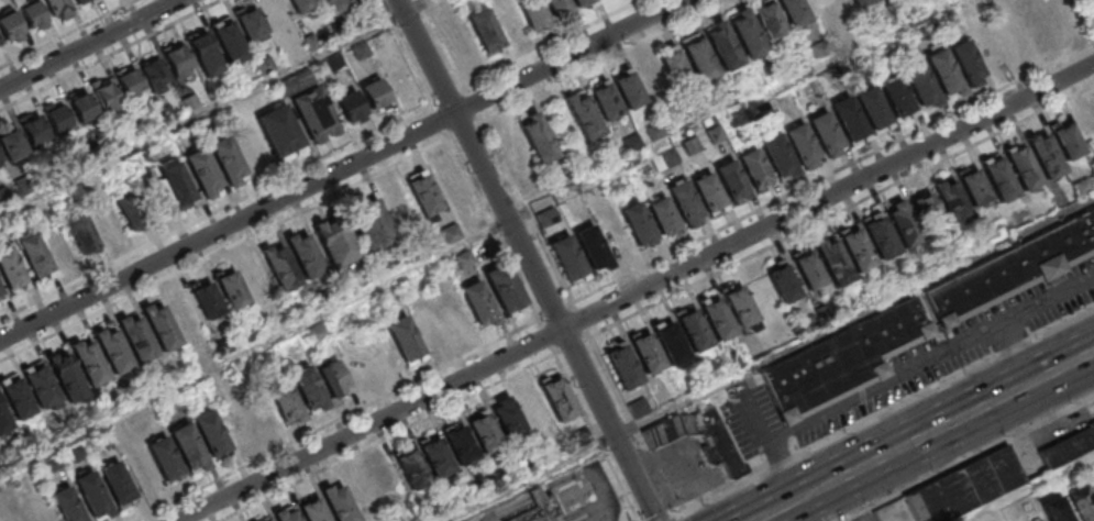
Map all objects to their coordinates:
building: (351, 0)
building: (79, 1)
building: (90, 1)
road: (1093, 1)
building: (582, 2)
building: (861, 2)
building: (300, 5)
building: (333, 5)
building: (557, 8)
building: (58, 9)
building: (275, 10)
building: (794, 11)
building: (32, 13)
building: (532, 13)
building: (1062, 16)
building: (507, 19)
building: (769, 19)
road: (1084, 19)
building: (251, 23)
building: (1037, 23)
building: (9, 25)
building: (484, 30)
building: (747, 35)
building: (229, 41)
road: (86, 43)
building: (1015, 43)
road: (444, 44)
building: (0, 46)
building: (723, 47)
building: (990, 49)
building: (205, 54)
building: (698, 56)
road: (847, 56)
building: (178, 60)
road: (607, 60)
building: (966, 62)
building: (673, 66)
building: (943, 70)
building: (154, 75)
building: (650, 76)
building: (130, 82)
building: (920, 84)
building: (627, 88)
building: (375, 93)
building: (106, 95)
building: (897, 98)
building: (604, 99)
road: (476, 104)
building: (350, 106)
building: (81, 107)
road: (216, 108)
building: (873, 110)
building: (583, 113)
building: (314, 114)
building: (57, 117)
building: (848, 119)
building: (33, 128)
building: (280, 132)
building: (825, 133)
building: (538, 137)
building: (12, 144)
building: (802, 144)
building: (510, 146)
building: (1056, 151)
building: (777, 155)
building: (664, 159)
building: (228, 160)
building: (0, 162)
building: (753, 167)
road: (342, 169)
building: (203, 173)
building: (1010, 174)
road: (835, 175)
building: (730, 179)
building: (450, 184)
building: (173, 186)
building: (974, 188)
building: (423, 192)
building: (708, 192)
building: (685, 202)
building: (398, 203)
building: (941, 204)
building: (131, 211)
road: (530, 212)
road: (843, 213)
building: (662, 215)
building: (471, 220)
building: (107, 222)
building: (637, 222)
building: (371, 223)
building: (904, 224)
road: (496, 230)
building: (612, 233)
building: (82, 235)
building: (880, 235)
building: (335, 241)
building: (58, 245)
building: (590, 246)
building: (857, 248)
building: (34, 254)
building: (305, 254)
building: (565, 254)
road: (530, 260)
building: (832, 260)
building: (279, 266)
building: (12, 271)
building: (809, 271)
building: (1014, 273)
building: (255, 279)
building: (784, 282)
building: (504, 288)
building: (232, 290)
building: (0, 293)
road: (638, 295)
building: (207, 299)
building: (478, 303)
building: (183, 310)
road: (557, 312)
building: (728, 313)
building: (454, 317)
road: (583, 320)
building: (161, 325)
building: (429, 326)
building: (317, 333)
building: (136, 337)
road: (550, 337)
building: (405, 340)
road: (574, 345)
road: (255, 348)
building: (113, 350)
building: (647, 352)
road: (1014, 355)
road: (771, 359)
building: (89, 361)
building: (846, 363)
building: (622, 365)
road: (908, 373)
building: (66, 376)
building: (332, 376)
building: (41, 385)
building: (308, 389)
building: (16, 397)
building: (559, 397)
building: (285, 402)
building: (639, 407)
building: (533, 408)
road: (885, 409)
building: (261, 414)
road: (964, 415)
building: (508, 418)
building: (4, 420)
road: (340, 420)
building: (235, 423)
road: (634, 424)
building: (484, 431)
building: (212, 434)
building: (699, 436)
road: (388, 437)
road: (597, 437)
building: (460, 444)
building: (1068, 446)
building: (188, 448)
building: (435, 456)
road: (969, 457)
building: (164, 458)
building: (411, 468)
road: (593, 469)
building: (993, 475)
building: (387, 481)
building: (117, 484)
road: (1027, 487)
building: (92, 495)
road: (539, 495)
road: (803, 497)
building: (339, 502)
building: (1081, 502)
building: (67, 505)
building: (541, 508)
building: (312, 509)
road: (510, 509)
building: (1056, 509)
building: (40, 510)
building: (286, 513)
road: (671, 517)
road: (679, 517)
road: (764, 517)
building: (16, 518)
building: (265, 519)
road: (604, 519)
road: (607, 519)

